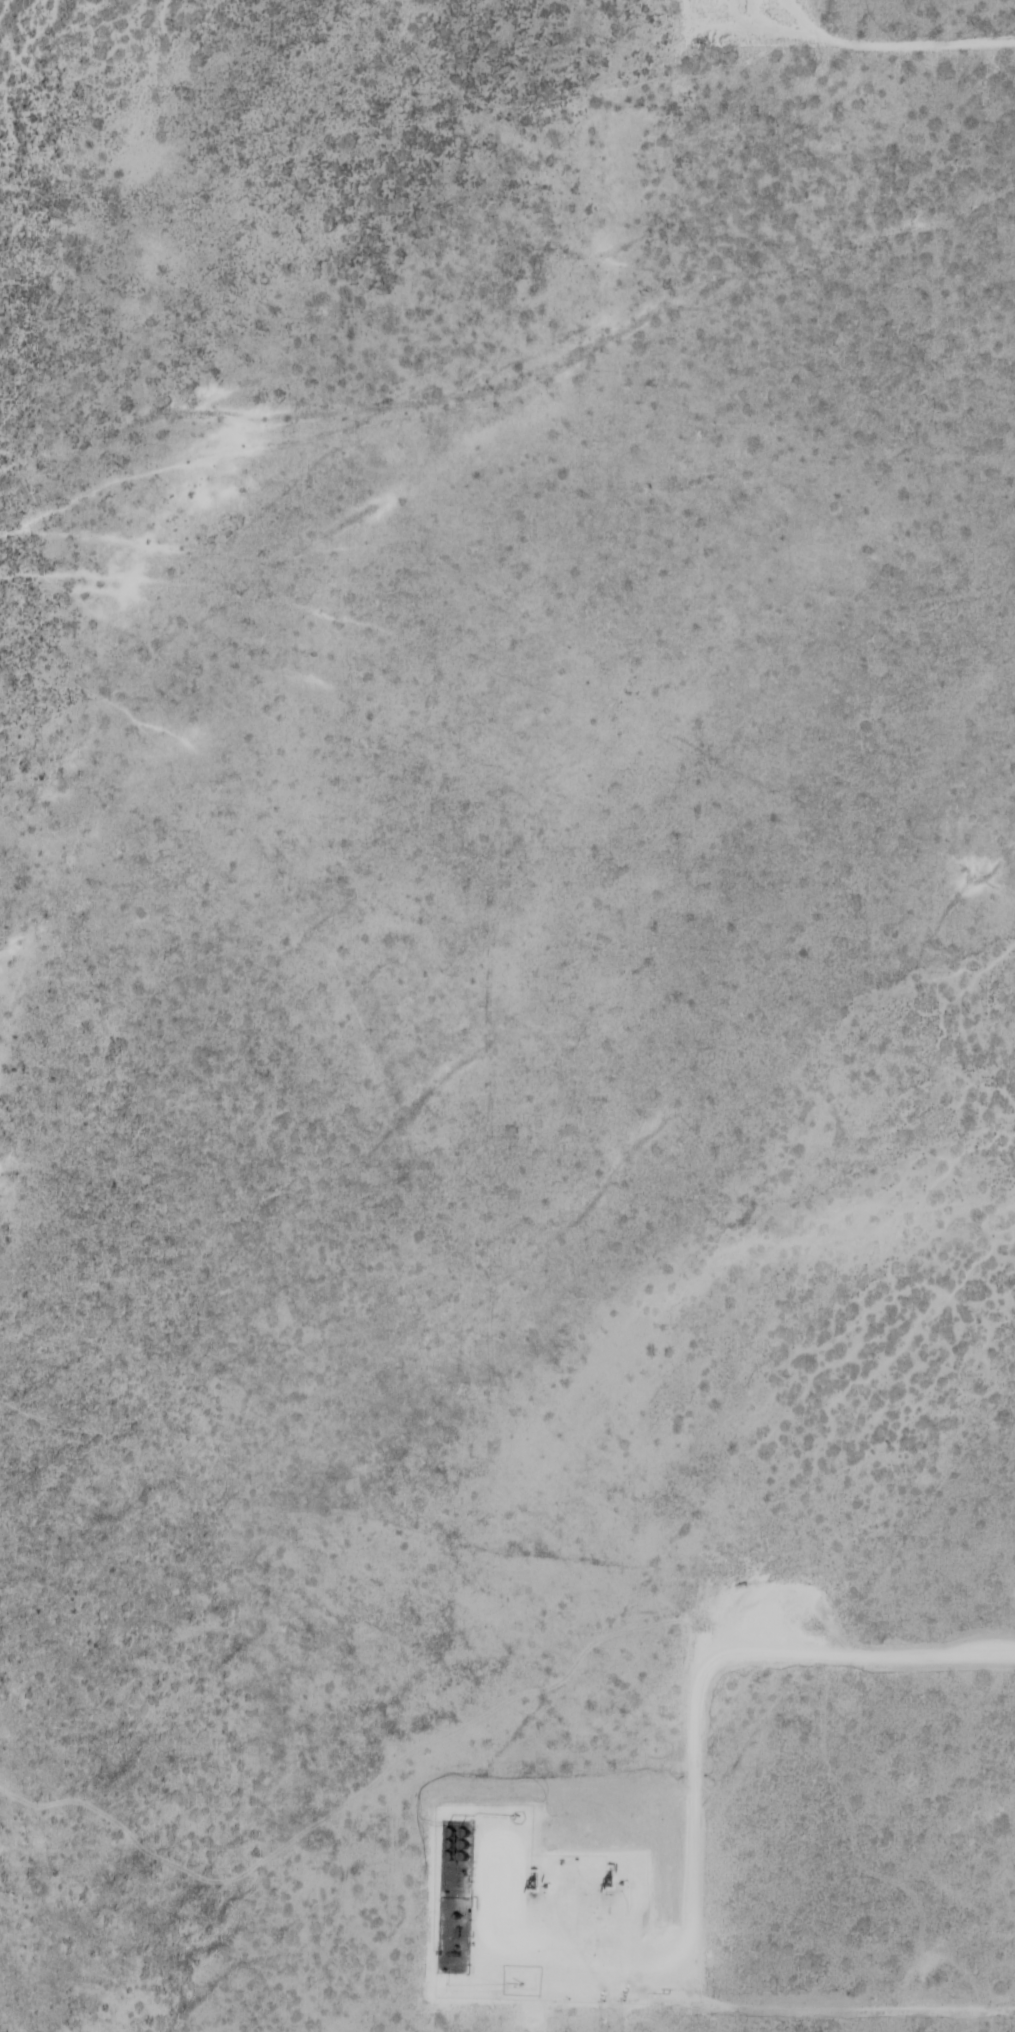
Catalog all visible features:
road: (1009, 1682)

